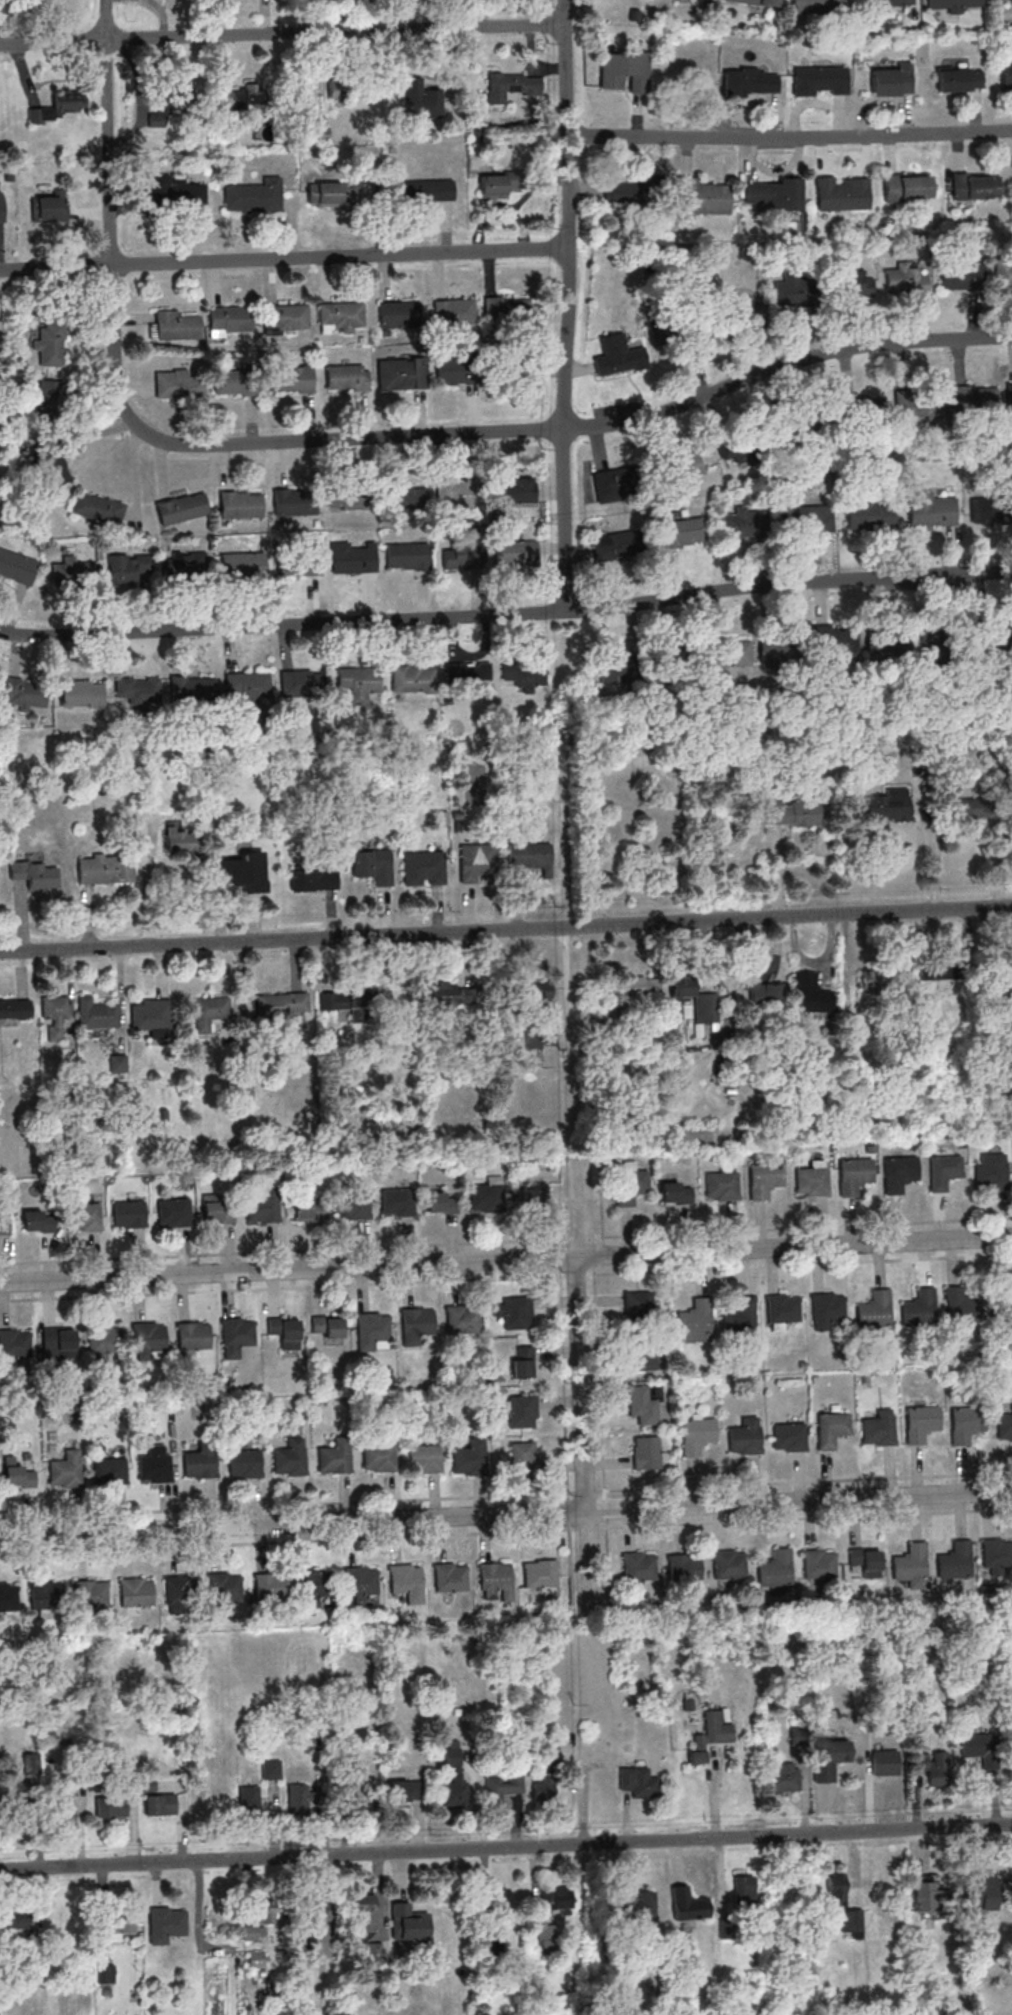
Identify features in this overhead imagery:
building: (1003, 0)
building: (701, 1)
building: (895, 2)
building: (755, 3)
building: (950, 3)
building: (816, 6)
road: (282, 32)
building: (625, 71)
building: (1006, 73)
building: (817, 81)
building: (890, 82)
building: (956, 82)
building: (748, 83)
building: (511, 86)
building: (341, 93)
building: (246, 98)
building: (423, 100)
building: (169, 101)
building: (59, 107)
road: (108, 132)
building: (322, 133)
road: (790, 139)
building: (499, 184)
building: (900, 185)
building: (975, 185)
building: (424, 190)
building: (175, 191)
building: (332, 193)
building: (623, 193)
building: (778, 193)
building: (838, 193)
building: (251, 195)
building: (702, 198)
building: (2, 208)
building: (49, 209)
road: (283, 259)
building: (1001, 271)
building: (957, 273)
building: (903, 279)
building: (849, 282)
building: (792, 291)
road: (567, 305)
building: (450, 311)
building: (504, 311)
building: (394, 313)
building: (338, 314)
building: (282, 316)
building: (227, 318)
building: (173, 325)
building: (713, 327)
building: (51, 349)
building: (615, 354)
building: (503, 369)
building: (453, 370)
building: (398, 373)
building: (342, 376)
building: (289, 378)
building: (231, 382)
building: (176, 384)
building: (1009, 396)
building: (49, 400)
building: (969, 401)
building: (918, 405)
building: (865, 409)
building: (802, 416)
road: (495, 430)
building: (749, 448)
building: (50, 464)
building: (685, 466)
building: (611, 486)
building: (514, 490)
building: (457, 491)
building: (344, 496)
building: (400, 498)
building: (292, 501)
building: (237, 504)
building: (94, 507)
building: (177, 507)
building: (927, 508)
building: (988, 508)
building: (870, 515)
building: (804, 518)
building: (742, 522)
building: (680, 532)
building: (615, 546)
building: (512, 551)
building: (460, 553)
building: (403, 555)
building: (351, 559)
building: (294, 561)
building: (15, 565)
building: (185, 565)
building: (243, 565)
building: (129, 567)
building: (72, 572)
road: (787, 582)
road: (281, 624)
building: (832, 643)
building: (885, 643)
building: (936, 644)
building: (991, 644)
building: (777, 649)
building: (728, 653)
building: (672, 660)
building: (520, 672)
building: (616, 672)
building: (464, 674)
building: (353, 677)
building: (408, 677)
building: (299, 681)
building: (243, 684)
building: (133, 690)
building: (189, 690)
building: (25, 694)
building: (79, 694)
building: (887, 806)
building: (965, 809)
building: (794, 813)
building: (622, 838)
building: (181, 840)
building: (526, 854)
building: (478, 863)
building: (369, 865)
building: (421, 867)
building: (101, 868)
building: (234, 870)
building: (34, 874)
building: (310, 879)
road: (506, 930)
building: (875, 978)
building: (637, 986)
building: (762, 990)
building: (450, 993)
building: (539, 994)
building: (812, 994)
building: (364, 996)
building: (695, 998)
building: (282, 1003)
building: (13, 1010)
building: (210, 1012)
building: (611, 1014)
building: (95, 1015)
building: (54, 1016)
building: (149, 1016)
building: (117, 1063)
building: (992, 1170)
building: (897, 1171)
building: (943, 1171)
building: (853, 1174)
building: (762, 1178)
building: (809, 1180)
building: (629, 1185)
building: (720, 1185)
building: (676, 1192)
building: (488, 1194)
building: (533, 1195)
building: (398, 1202)
building: (443, 1203)
building: (354, 1206)
road: (583, 1206)
building: (264, 1208)
building: (218, 1209)
building: (309, 1210)
building: (174, 1212)
building: (129, 1214)
building: (84, 1216)
building: (39, 1220)
building: (5, 1222)
road: (506, 1240)
road: (799, 1246)
road: (579, 1256)
road: (286, 1268)
road: (296, 1286)
building: (639, 1303)
building: (961, 1306)
building: (1001, 1306)
building: (918, 1308)
building: (873, 1309)
building: (783, 1311)
building: (829, 1311)
building: (514, 1312)
building: (738, 1316)
building: (460, 1318)
building: (693, 1318)
building: (413, 1321)
building: (324, 1325)
building: (370, 1326)
building: (282, 1330)
building: (235, 1331)
building: (190, 1335)
building: (145, 1336)
building: (103, 1340)
building: (59, 1343)
building: (15, 1346)
building: (643, 1360)
building: (522, 1362)
road: (596, 1376)
road: (561, 1402)
building: (642, 1405)
building: (520, 1410)
building: (918, 1421)
building: (963, 1422)
building: (1004, 1425)
building: (876, 1427)
building: (829, 1428)
building: (694, 1434)
road: (581, 1435)
building: (745, 1437)
building: (789, 1437)
building: (332, 1455)
building: (375, 1456)
building: (467, 1457)
building: (522, 1457)
building: (424, 1458)
building: (286, 1460)
building: (197, 1461)
building: (241, 1462)
building: (151, 1467)
building: (64, 1469)
building: (106, 1470)
building: (17, 1476)
road: (300, 1502)
road: (506, 1514)
road: (789, 1518)
road: (342, 1538)
building: (997, 1552)
building: (865, 1559)
building: (953, 1560)
building: (908, 1562)
building: (819, 1563)
building: (729, 1564)
building: (639, 1566)
building: (684, 1567)
building: (773, 1568)
road: (569, 1570)
building: (540, 1573)
building: (491, 1575)
building: (446, 1576)
building: (401, 1578)
building: (357, 1580)
building: (311, 1582)
building: (219, 1586)
building: (177, 1589)
building: (269, 1589)
building: (132, 1591)
building: (87, 1593)
building: (44, 1595)
building: (7, 1597)
building: (710, 1736)
building: (979, 1745)
building: (830, 1758)
building: (884, 1762)
building: (933, 1766)
building: (271, 1769)
building: (783, 1778)
building: (453, 1779)
building: (638, 1782)
building: (505, 1783)
building: (545, 1785)
building: (406, 1790)
building: (248, 1798)
building: (300, 1799)
building: (160, 1804)
building: (111, 1808)
building: (60, 1812)
road: (506, 1848)
building: (750, 1890)
building: (980, 1892)
building: (925, 1896)
building: (501, 1899)
building: (556, 1899)
building: (639, 1903)
building: (688, 1904)
building: (845, 1904)
building: (311, 1906)
building: (264, 1912)
building: (365, 1913)
building: (23, 1921)
building: (408, 1922)
building: (166, 1923)
building: (119, 1925)
building: (249, 1933)
building: (304, 1944)
building: (105, 1973)

